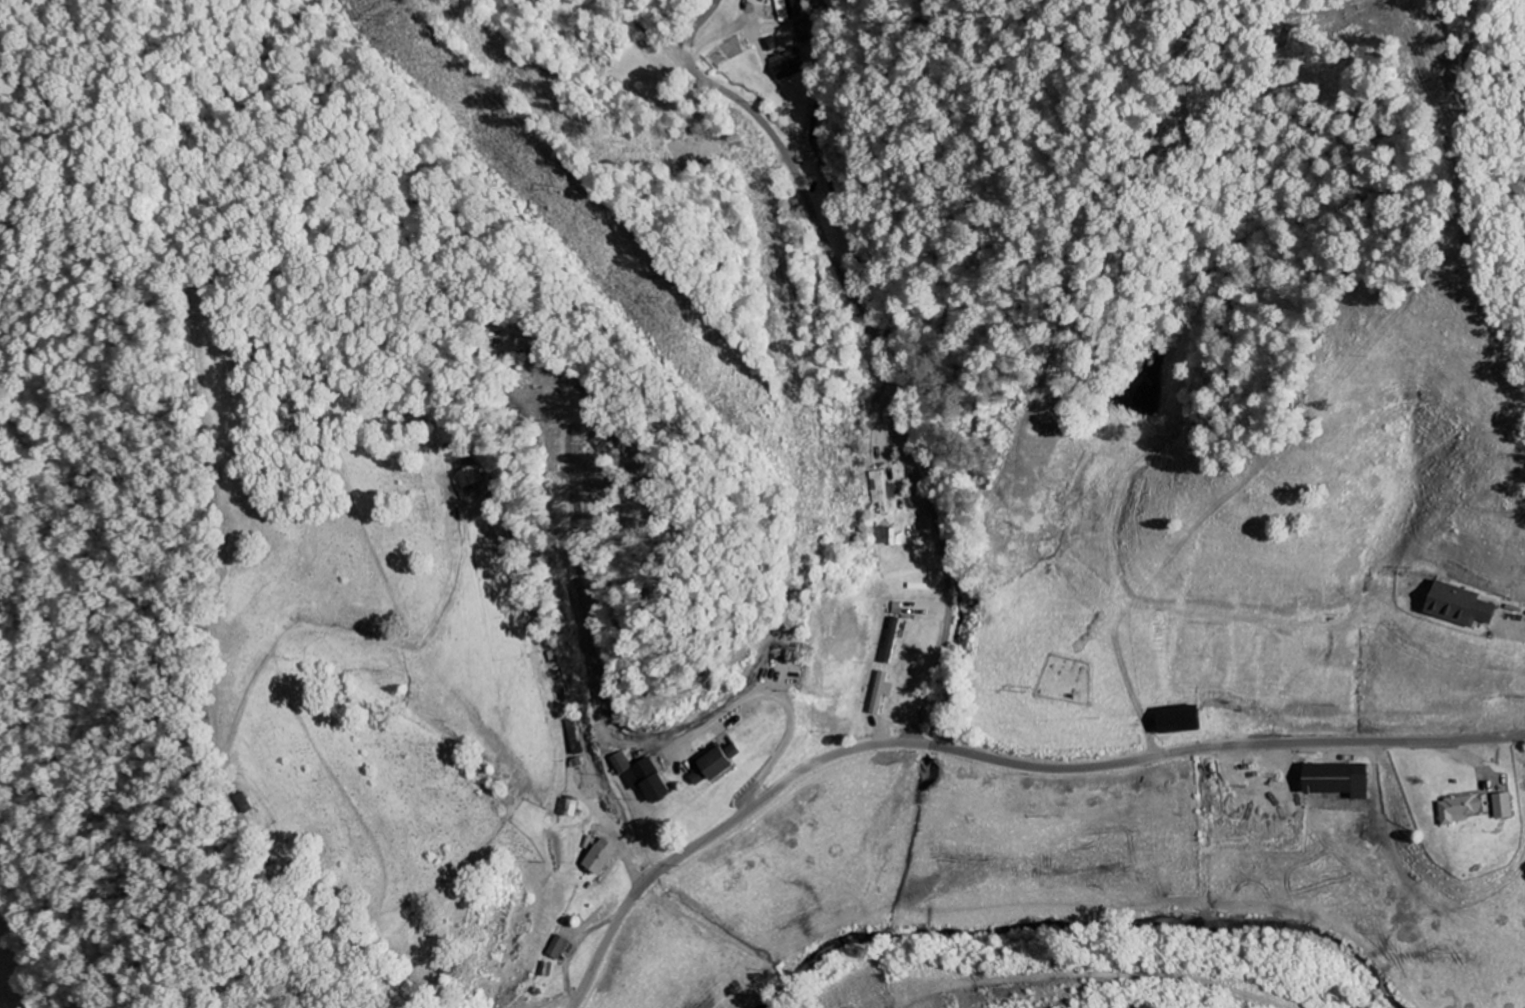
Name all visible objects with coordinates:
building: (785, 10)
road: (644, 30)
power tower: (653, 298)
road: (862, 347)
building: (607, 442)
building: (465, 481)
building: (881, 491)
building: (1456, 605)
park: (1064, 678)
building: (883, 692)
building: (1173, 719)
road: (992, 758)
building: (721, 763)
building: (646, 776)
building: (1333, 779)
building: (1502, 805)
building: (1461, 808)
building: (606, 856)
building: (560, 947)
building: (547, 968)

